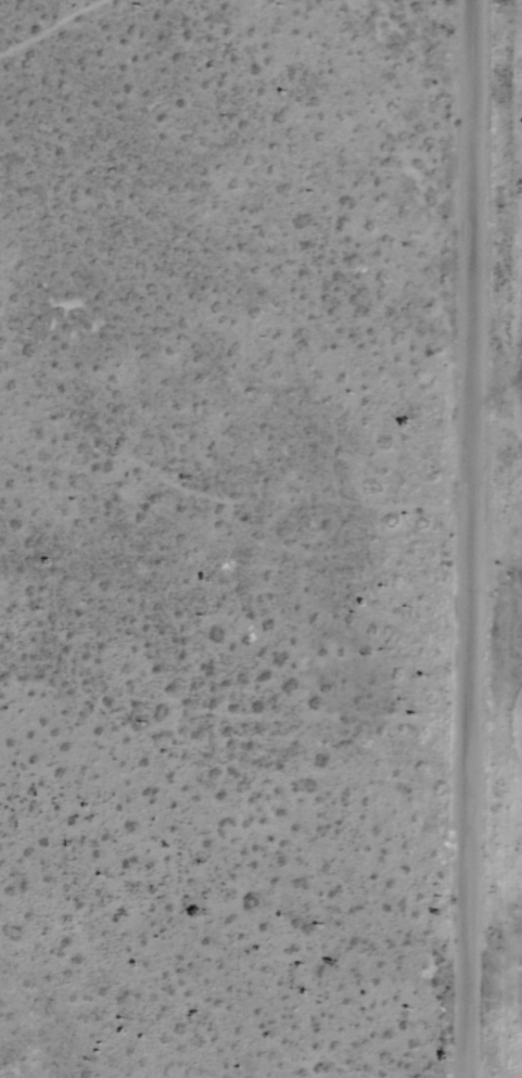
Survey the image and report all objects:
road: (462, 538)
road: (491, 851)

